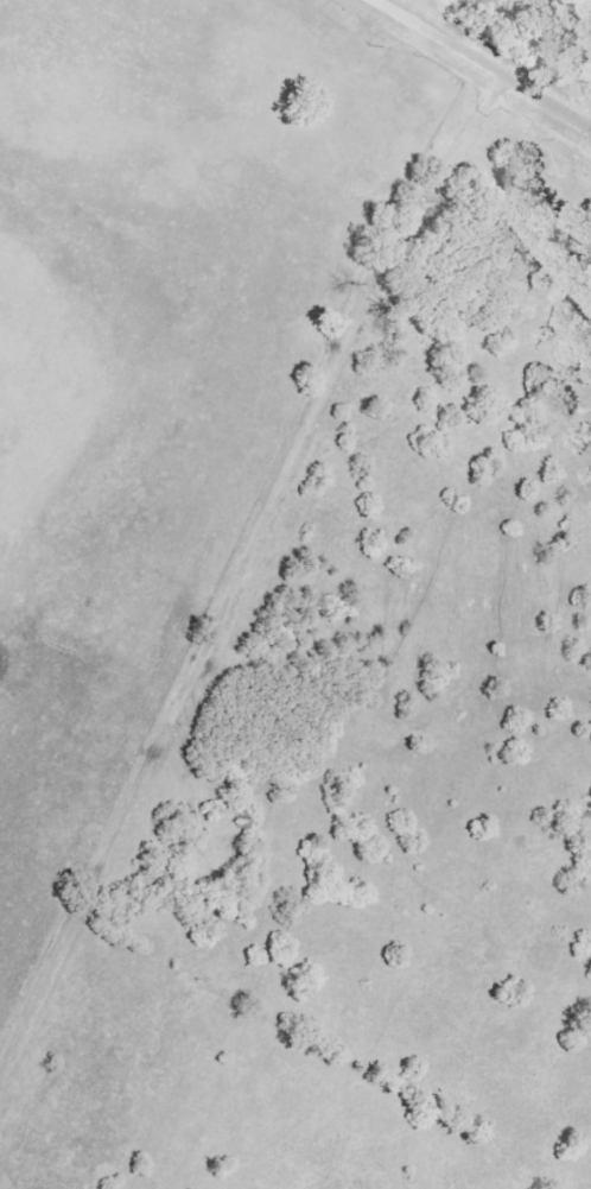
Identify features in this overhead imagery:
road: (483, 64)

